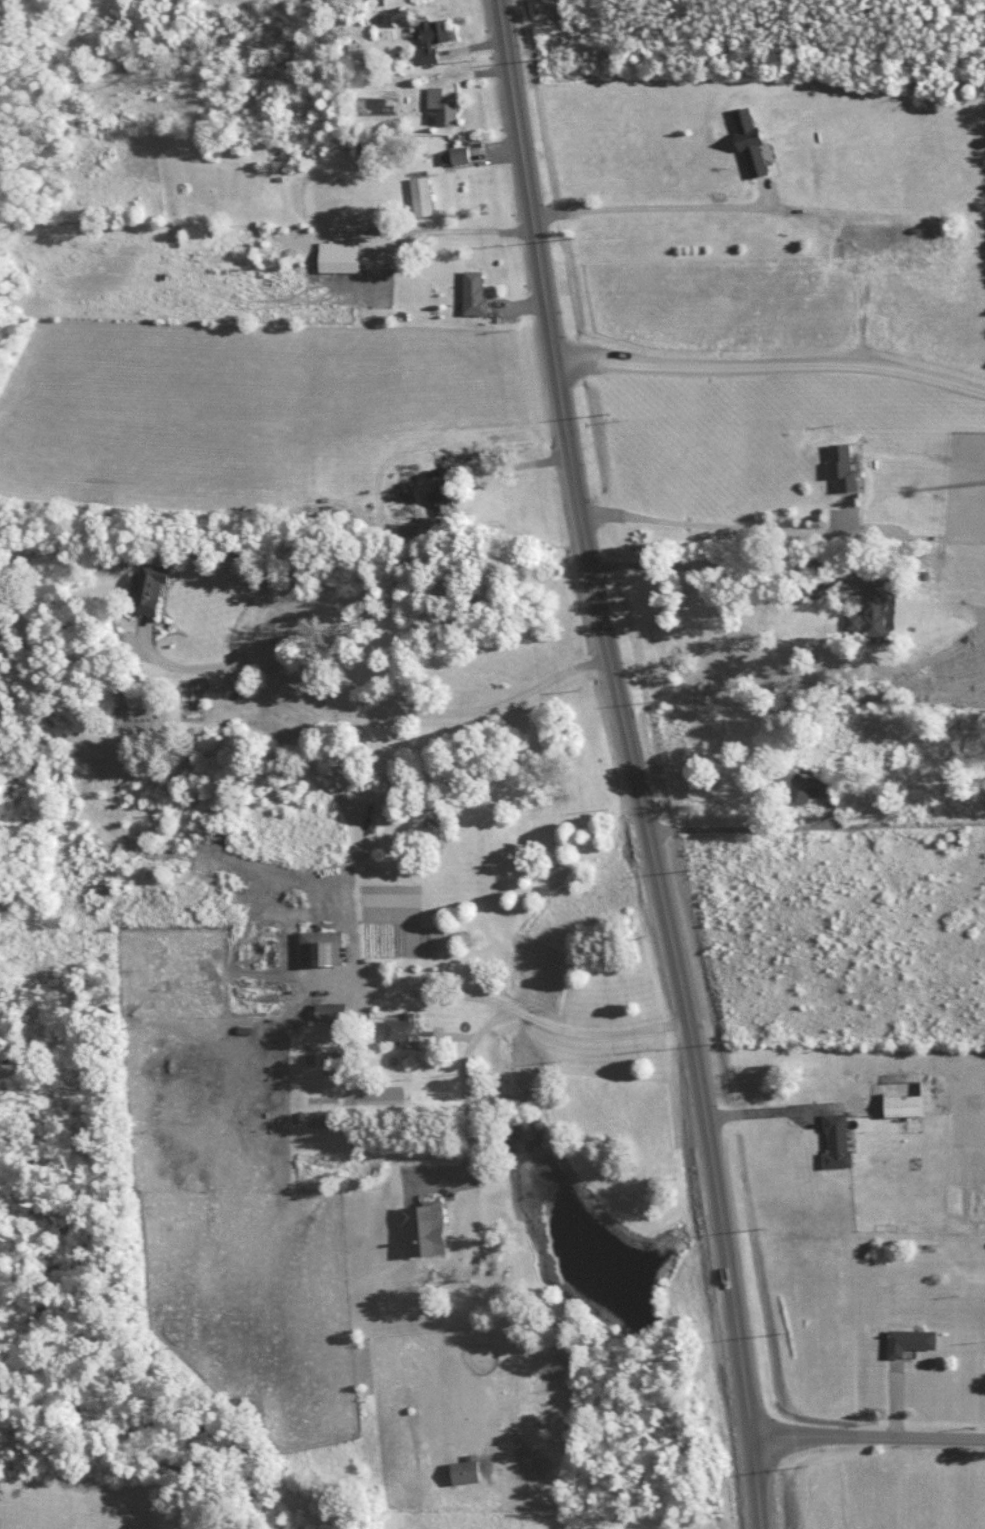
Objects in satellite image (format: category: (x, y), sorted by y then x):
building: (432, 38)
building: (440, 106)
building: (748, 141)
building: (454, 155)
building: (421, 195)
road: (651, 206)
road: (480, 232)
building: (338, 256)
building: (473, 293)
road: (771, 366)
road: (515, 465)
building: (841, 466)
building: (442, 498)
road: (782, 531)
road: (714, 563)
building: (148, 587)
building: (871, 608)
road: (363, 711)
road: (633, 763)
building: (808, 787)
road: (813, 830)
building: (321, 946)
road: (507, 1004)
building: (325, 1010)
building: (402, 1028)
road: (468, 1085)
building: (902, 1097)
road: (776, 1111)
building: (836, 1140)
building: (422, 1227)
building: (909, 1340)
road: (868, 1437)
building: (464, 1469)

